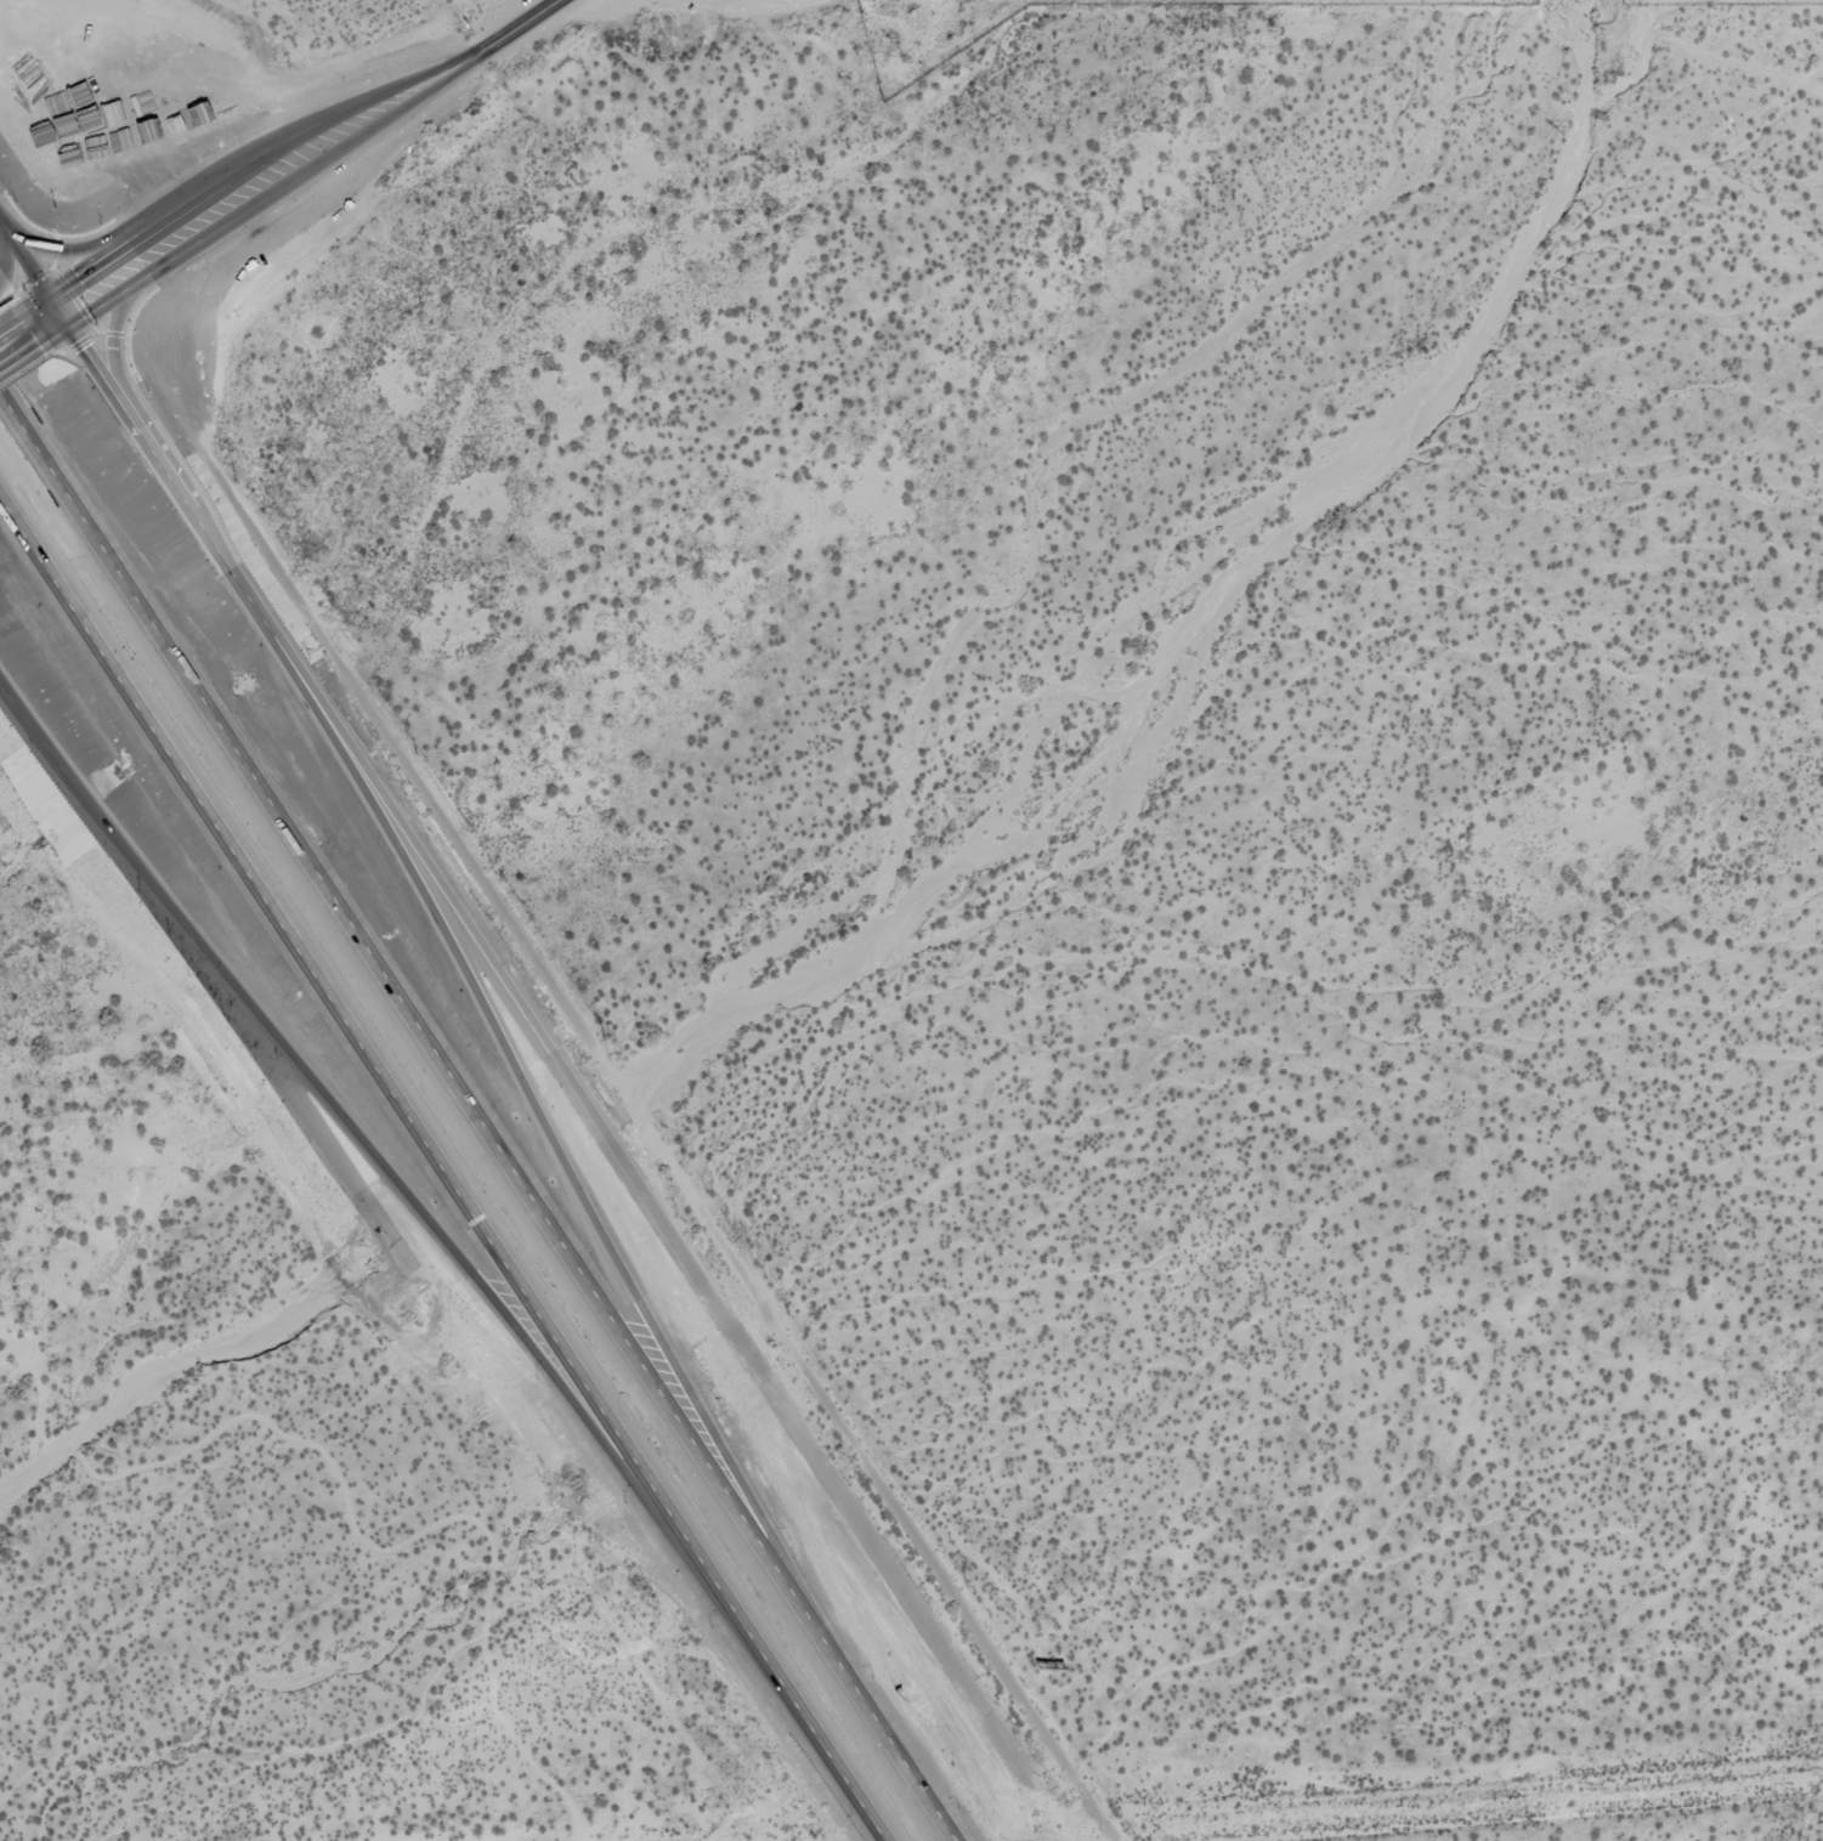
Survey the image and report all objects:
road: (539, 16)
road: (270, 149)
road: (289, 181)
road: (1, 243)
road: (64, 251)
road: (1, 259)
traffic signals: (57, 311)
road: (40, 322)
road: (11, 340)
road: (112, 351)
road: (130, 418)
road: (86, 805)
road: (283, 1083)
road: (475, 1118)
road: (539, 1129)
road: (656, 1146)
road: (440, 1171)
road: (640, 1194)
road: (435, 1230)
road: (1532, 1815)

